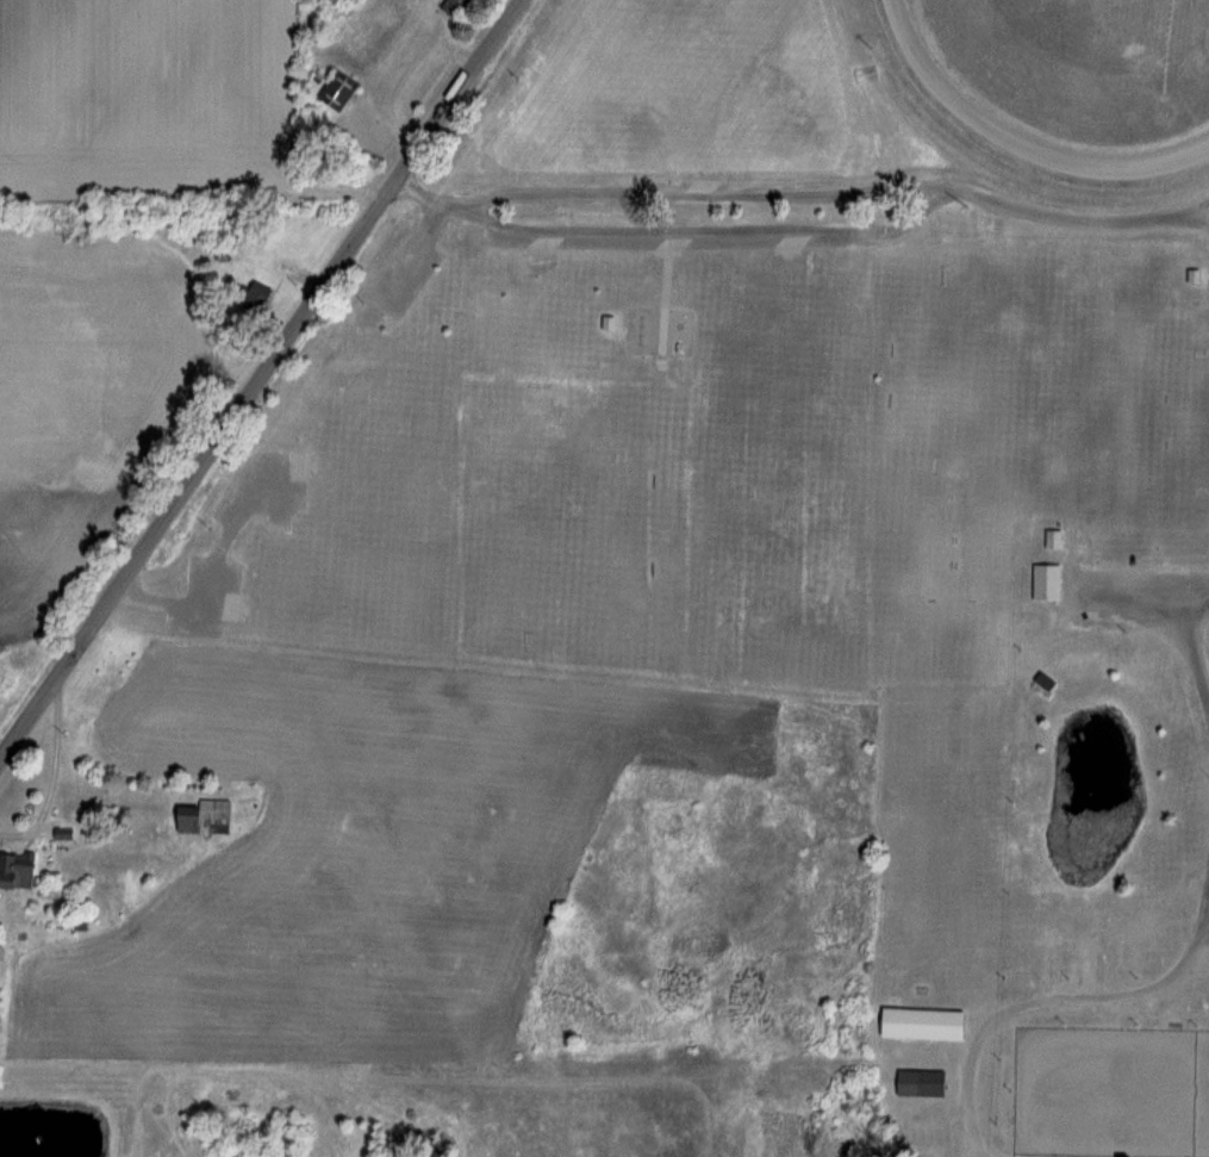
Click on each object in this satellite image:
building: (451, 6)
building: (336, 89)
track: (961, 98)
road: (679, 175)
road: (413, 187)
road: (1072, 191)
road: (684, 223)
building: (250, 296)
road: (262, 382)
park: (823, 484)
building: (1052, 539)
building: (1045, 580)
road: (1184, 646)
building: (200, 816)
building: (17, 869)
road: (1207, 908)
road: (1053, 1001)
building: (920, 1022)
building: (918, 1082)

